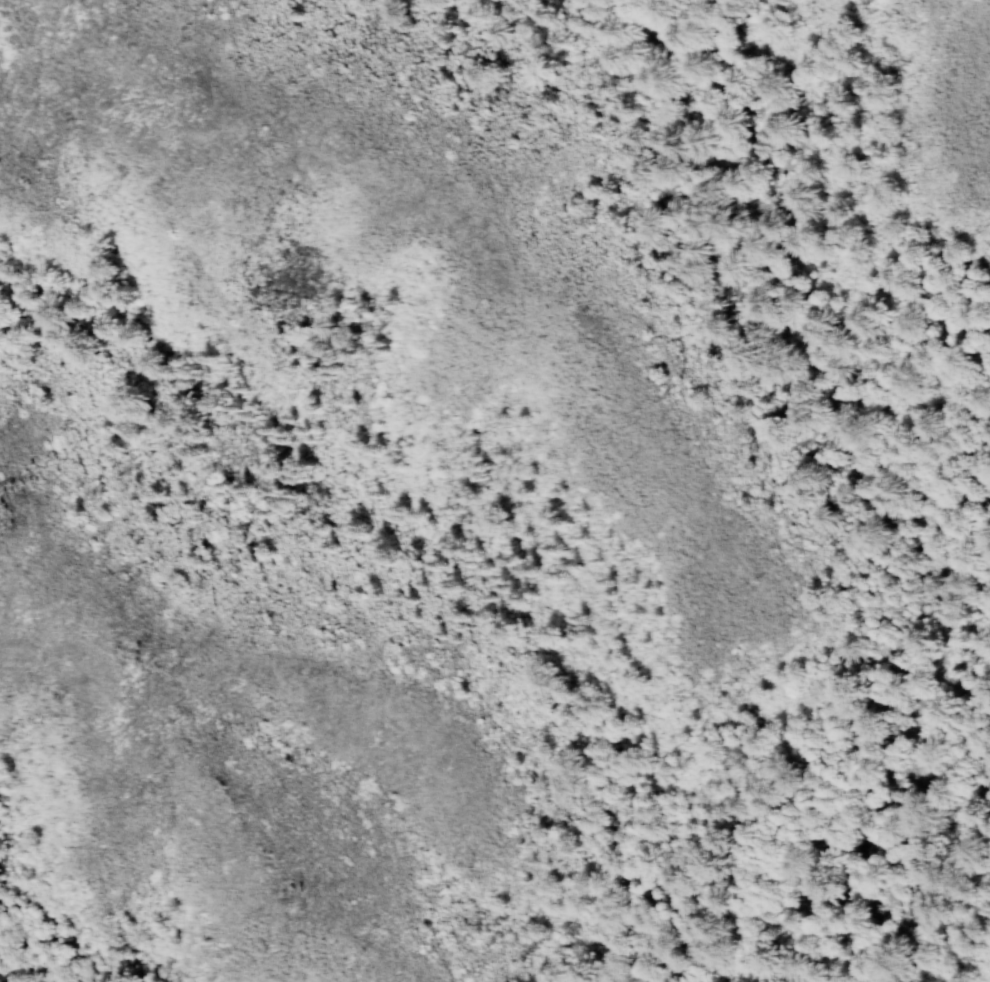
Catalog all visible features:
road: (921, 230)

